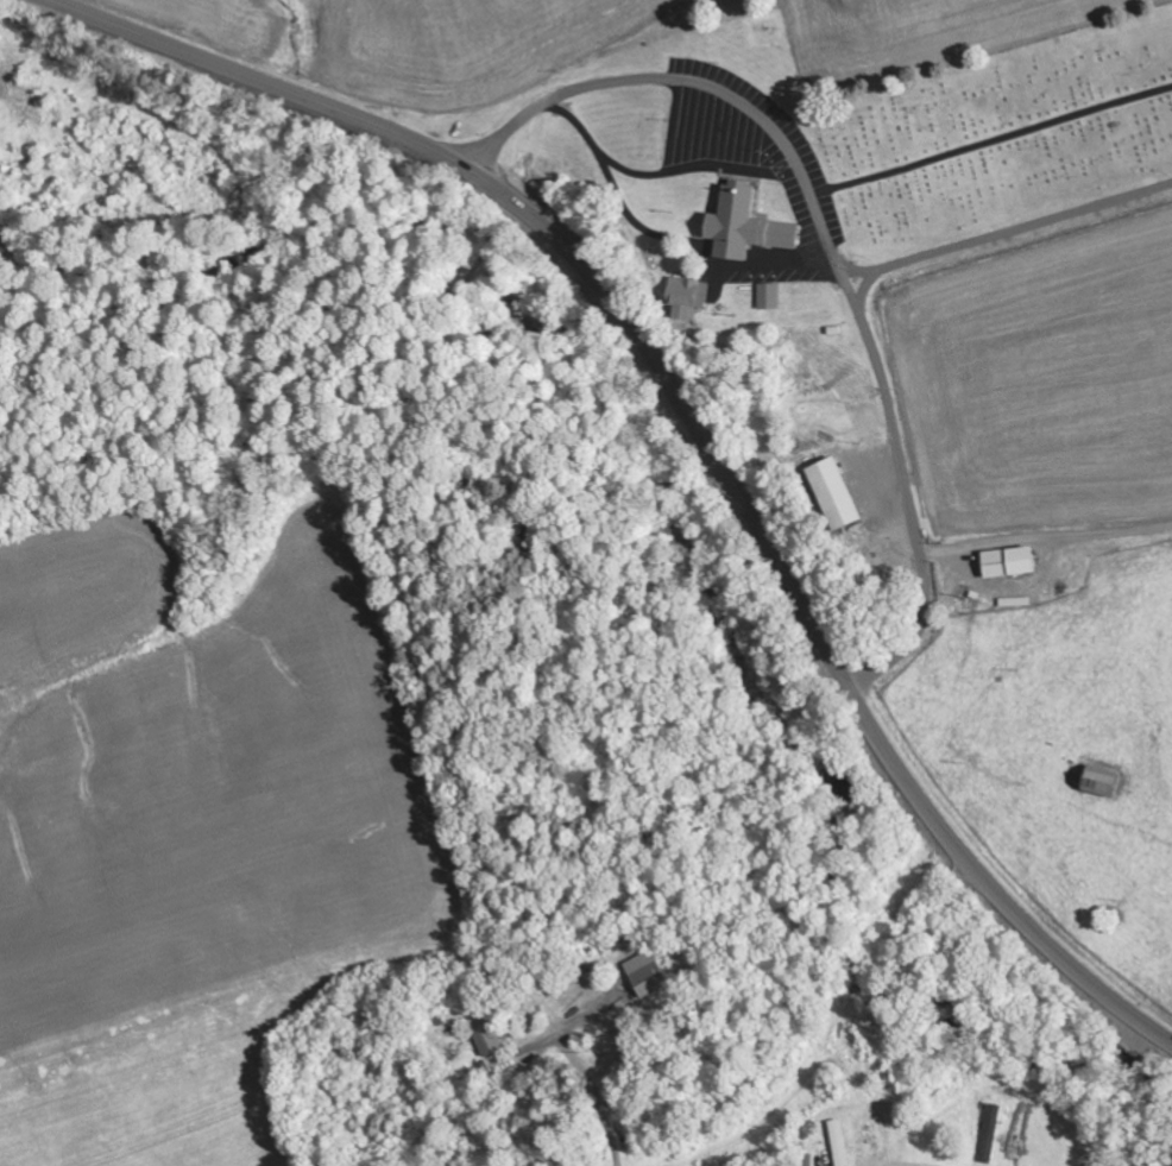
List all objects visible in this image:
park: (1000, 134)
building: (746, 226)
road: (1007, 234)
road: (832, 250)
road: (864, 290)
building: (689, 298)
building: (770, 298)
road: (697, 417)
building: (836, 497)
road: (1046, 537)
building: (1009, 565)
building: (1101, 783)
building: (649, 975)
building: (489, 1038)
building: (840, 1142)

